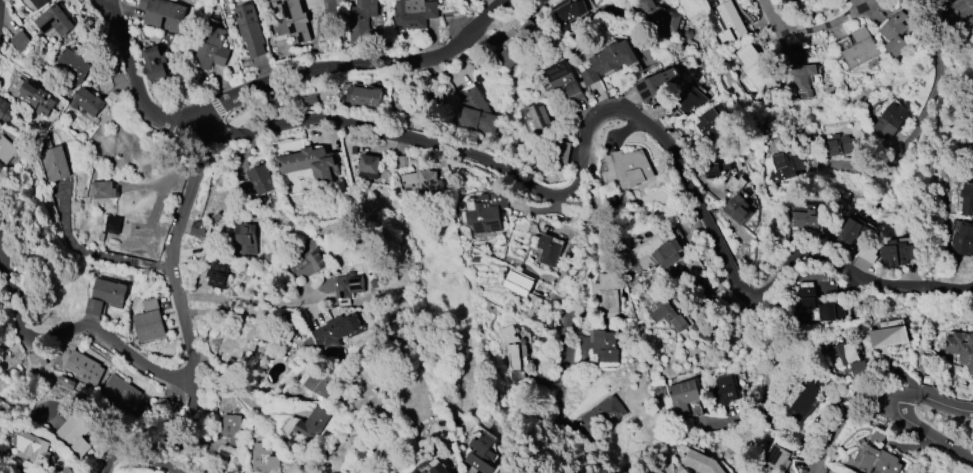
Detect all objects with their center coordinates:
road: (304, 0)
building: (695, 0)
building: (787, 1)
building: (38, 3)
building: (962, 9)
building: (162, 13)
building: (413, 13)
building: (661, 14)
building: (571, 17)
building: (54, 20)
building: (358, 20)
building: (730, 25)
building: (249, 29)
road: (334, 32)
building: (893, 33)
road: (802, 36)
building: (20, 41)
building: (517, 45)
building: (211, 48)
building: (857, 48)
building: (608, 60)
building: (153, 62)
building: (71, 66)
building: (755, 68)
building: (802, 76)
building: (561, 80)
building: (655, 83)
road: (956, 86)
road: (934, 88)
building: (362, 97)
building: (36, 99)
building: (309, 100)
building: (691, 100)
building: (87, 102)
building: (417, 106)
building: (4, 111)
building: (474, 112)
building: (891, 120)
building: (540, 121)
building: (712, 121)
building: (843, 145)
building: (6, 150)
building: (563, 152)
road: (201, 156)
building: (57, 162)
building: (786, 162)
building: (312, 165)
building: (369, 166)
building: (631, 167)
building: (707, 171)
road: (579, 176)
building: (423, 182)
building: (258, 183)
building: (734, 184)
building: (102, 190)
building: (968, 199)
building: (737, 208)
building: (486, 212)
building: (809, 220)
building: (112, 225)
building: (550, 231)
building: (855, 232)
building: (963, 238)
building: (246, 239)
building: (549, 250)
building: (655, 251)
building: (897, 253)
road: (94, 254)
building: (309, 262)
building: (219, 275)
building: (519, 283)
building: (347, 287)
building: (106, 295)
building: (608, 295)
road: (572, 299)
road: (223, 305)
building: (813, 307)
building: (668, 316)
building: (148, 321)
road: (79, 329)
building: (333, 331)
building: (889, 336)
building: (243, 339)
road: (917, 343)
building: (605, 345)
building: (961, 348)
building: (515, 353)
building: (843, 354)
building: (36, 359)
building: (81, 366)
building: (859, 370)
building: (314, 381)
building: (723, 390)
building: (119, 393)
road: (873, 396)
building: (683, 397)
building: (805, 401)
building: (601, 415)
building: (231, 429)
building: (307, 430)
building: (70, 433)
road: (925, 433)
building: (33, 447)
road: (904, 448)
building: (481, 453)
building: (777, 457)
road: (140, 459)
building: (263, 459)
building: (876, 460)
building: (700, 462)
building: (439, 469)
building: (67, 470)
building: (216, 472)
building: (227, 472)

